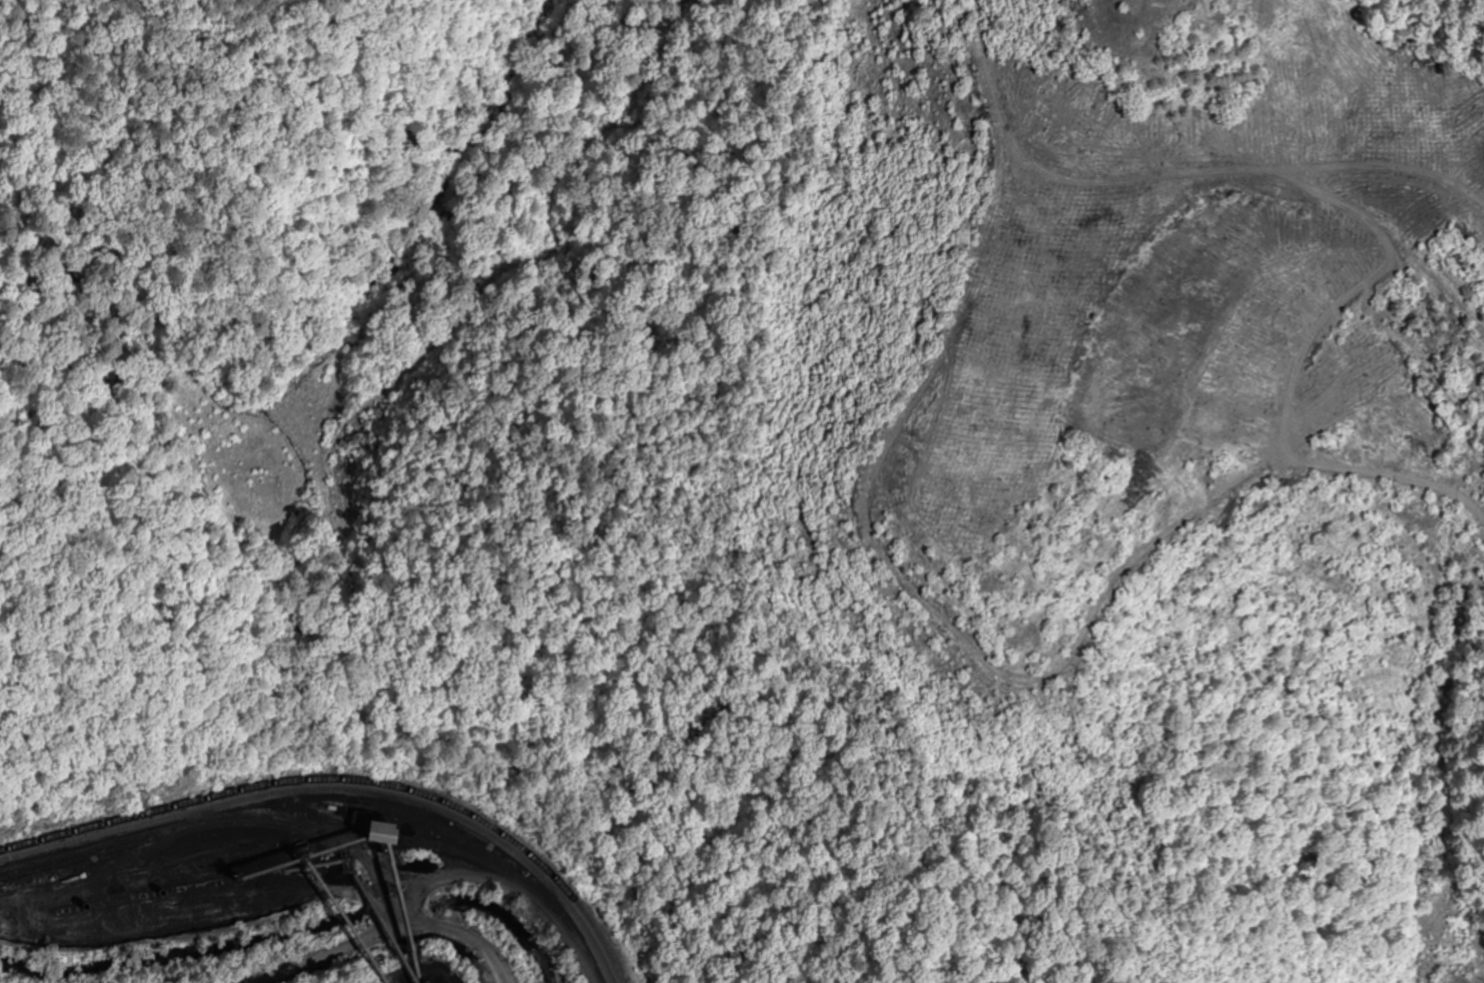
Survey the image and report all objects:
railway: (342, 788)
road: (394, 928)

